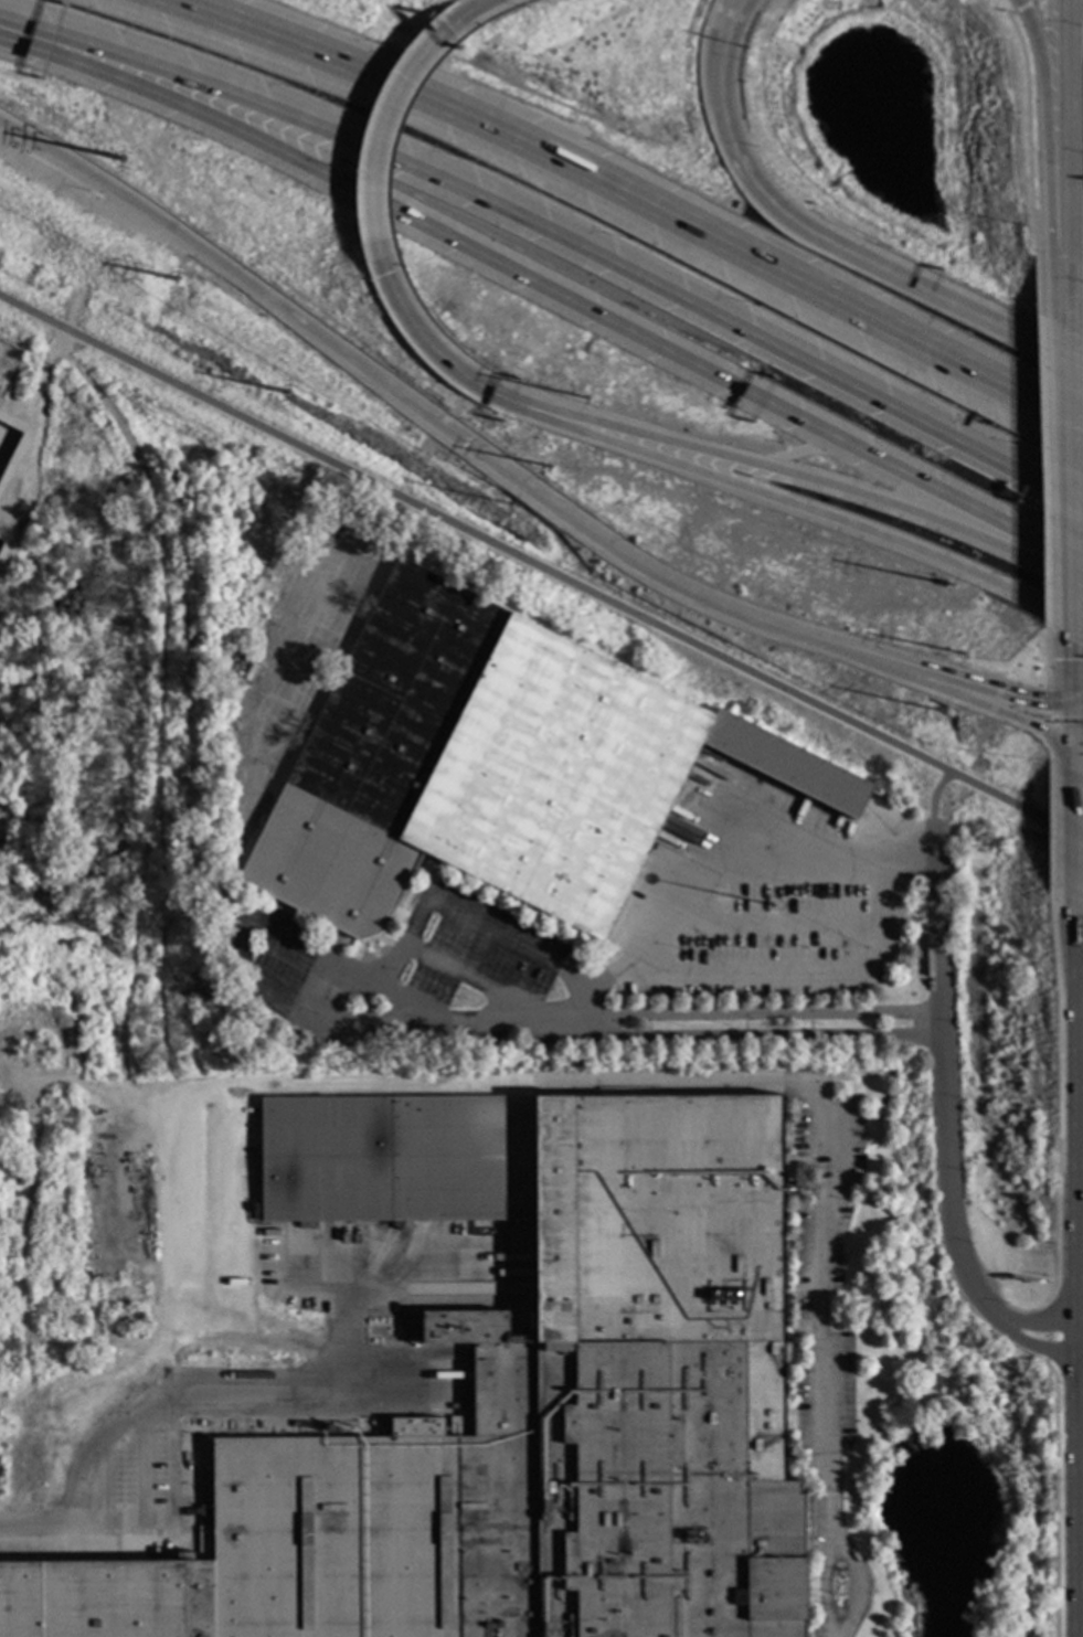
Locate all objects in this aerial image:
road: (1033, 1)
road: (1062, 2)
road: (1022, 8)
road: (732, 12)
road: (1027, 17)
road: (458, 18)
road: (1049, 22)
road: (379, 135)
road: (1063, 136)
road: (1045, 152)
road: (1027, 158)
power tower: (119, 159)
road: (630, 200)
road: (156, 225)
road: (554, 236)
road: (831, 254)
traffic signals: (385, 273)
power tower: (171, 277)
road: (545, 289)
road: (1065, 290)
road: (434, 351)
power tower: (286, 392)
power substation: (11, 395)
power tower: (582, 395)
power tower: (548, 466)
road: (1040, 469)
road: (1068, 477)
road: (814, 487)
power tower: (511, 502)
road: (553, 507)
road: (811, 514)
power substation: (2, 545)
road: (541, 567)
power tower: (948, 585)
power tower: (962, 653)
road: (1043, 660)
road: (1070, 669)
road: (946, 677)
road: (1076, 693)
road: (948, 694)
traffic signals: (1071, 699)
power tower: (934, 711)
road: (1043, 717)
road: (1062, 721)
road: (160, 722)
road: (1072, 724)
traffic signals: (1073, 751)
building: (492, 766)
road: (931, 817)
road: (1072, 828)
road: (861, 861)
road: (924, 867)
road: (478, 924)
road: (337, 960)
road: (470, 982)
road: (548, 1019)
road: (1057, 1029)
road: (774, 1088)
building: (834, 1093)
road: (1074, 1120)
road: (949, 1155)
road: (353, 1263)
road: (172, 1304)
building: (383, 1328)
road: (1045, 1332)
road: (1077, 1335)
building: (913, 1342)
road: (172, 1365)
road: (167, 1399)
building: (513, 1402)
building: (203, 1444)
road: (1074, 1486)
road: (1053, 1495)
road: (179, 1520)

